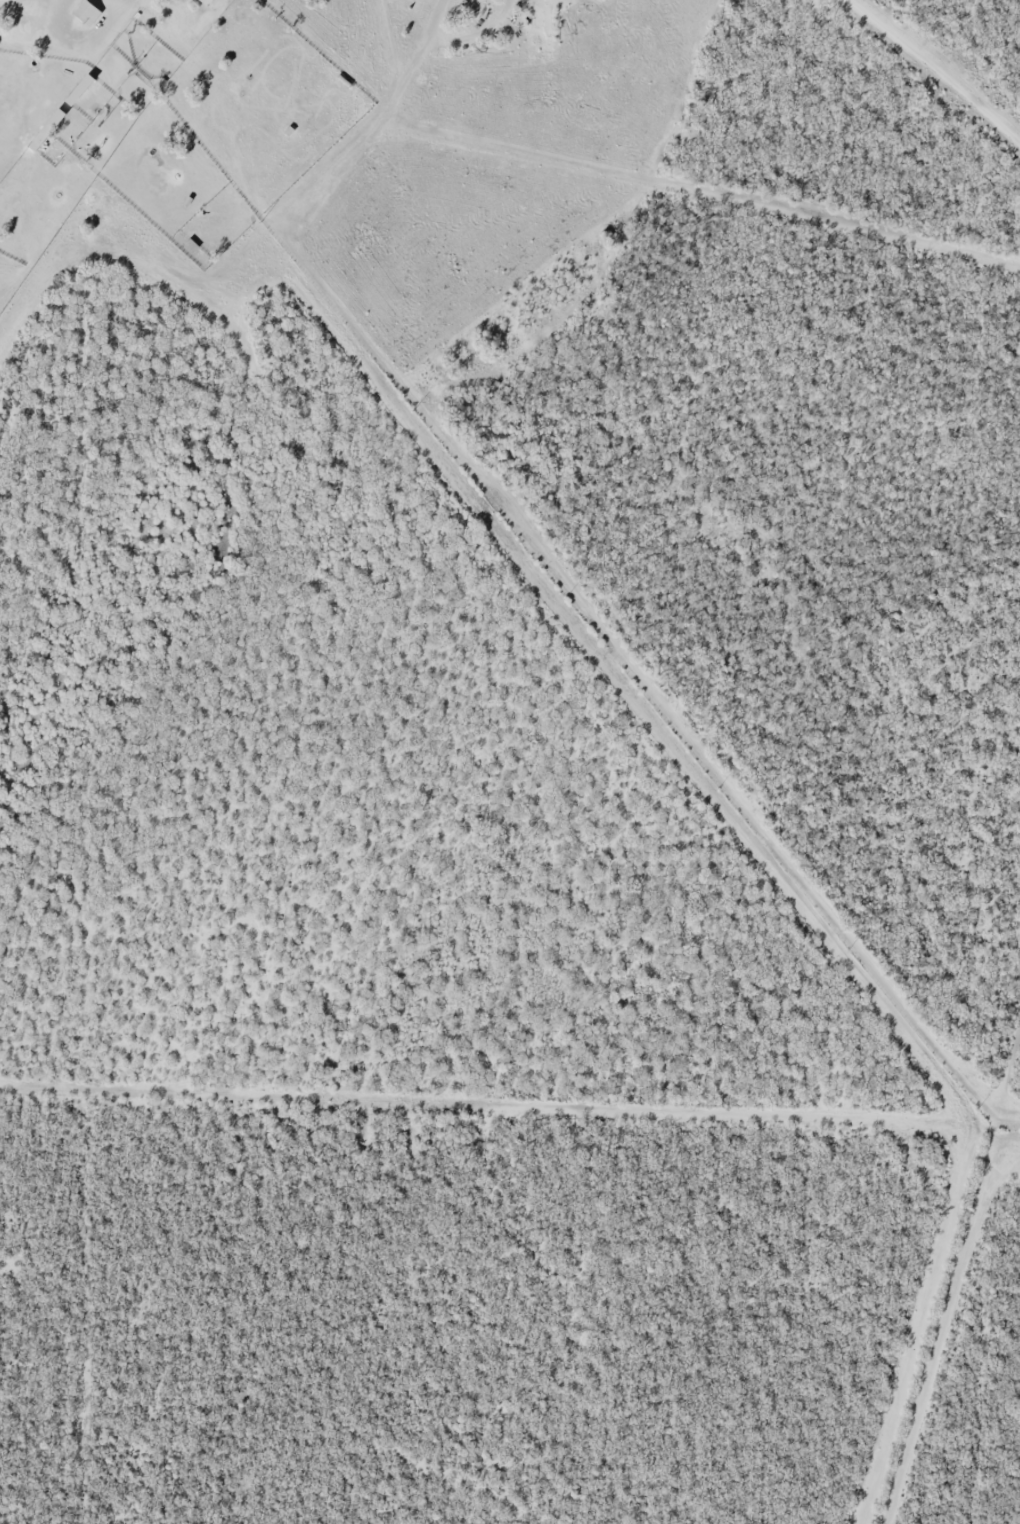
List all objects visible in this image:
building: (206, 2)
building: (86, 12)
road: (937, 69)
building: (78, 88)
building: (45, 128)

